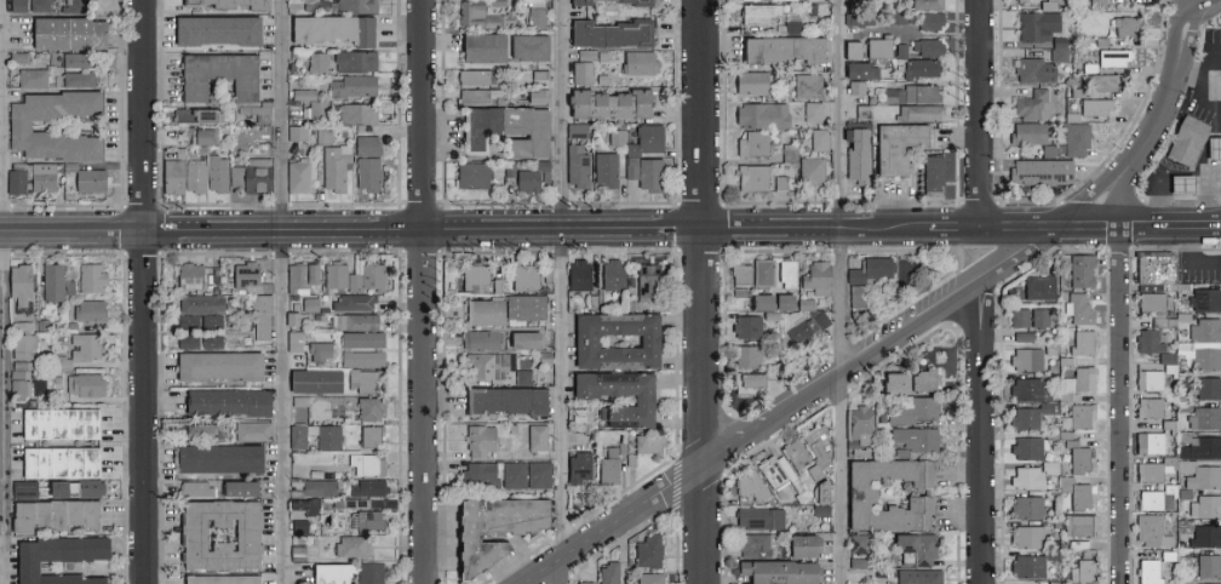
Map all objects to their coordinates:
building: (1019, 0)
building: (78, 1)
building: (785, 1)
building: (1028, 1)
building: (227, 4)
building: (501, 4)
building: (638, 4)
building: (16, 5)
building: (38, 5)
building: (1101, 5)
building: (354, 6)
building: (930, 6)
building: (1053, 6)
road: (1203, 7)
building: (815, 12)
building: (763, 16)
building: (486, 17)
building: (540, 19)
building: (900, 19)
building: (862, 22)
building: (934, 23)
building: (328, 28)
building: (1041, 28)
building: (1130, 28)
building: (796, 29)
building: (213, 30)
building: (64, 33)
building: (617, 35)
building: (1062, 44)
building: (1106, 44)
building: (488, 50)
building: (533, 50)
building: (849, 50)
building: (883, 50)
building: (900, 50)
building: (931, 50)
building: (786, 51)
building: (856, 52)
building: (905, 52)
building: (590, 57)
building: (1062, 57)
building: (75, 59)
building: (1117, 59)
building: (352, 61)
building: (315, 62)
building: (643, 64)
building: (1093, 69)
building: (924, 70)
building: (865, 73)
building: (1037, 73)
building: (214, 75)
building: (586, 75)
building: (544, 76)
building: (31, 78)
building: (78, 79)
building: (480, 79)
road: (1217, 82)
building: (756, 84)
building: (1106, 84)
building: (351, 85)
building: (812, 88)
building: (860, 90)
road: (1171, 93)
building: (1082, 95)
building: (915, 96)
building: (485, 98)
building: (543, 98)
building: (309, 103)
building: (615, 105)
building: (1037, 108)
building: (1100, 109)
building: (860, 110)
building: (354, 113)
building: (251, 114)
building: (816, 114)
building: (866, 114)
building: (923, 114)
building: (193, 115)
road: (980, 115)
building: (766, 118)
building: (1076, 119)
building: (18, 125)
building: (294, 132)
building: (510, 132)
building: (580, 132)
building: (197, 136)
building: (322, 136)
building: (1032, 136)
building: (620, 139)
building: (1078, 139)
building: (650, 142)
building: (822, 142)
building: (1191, 142)
building: (365, 145)
building: (757, 147)
building: (902, 148)
building: (1216, 150)
building: (1055, 153)
building: (861, 154)
building: (793, 155)
building: (333, 166)
building: (581, 168)
building: (512, 171)
building: (635, 171)
building: (610, 172)
building: (814, 172)
building: (170, 173)
building: (214, 173)
building: (366, 173)
building: (1044, 173)
building: (193, 176)
building: (250, 176)
building: (42, 177)
building: (296, 177)
building: (477, 177)
building: (654, 177)
building: (936, 177)
building: (85, 178)
building: (537, 178)
building: (756, 181)
building: (15, 182)
building: (785, 185)
building: (1186, 187)
road: (1085, 202)
road: (1117, 202)
road: (1202, 229)
road: (489, 230)
road: (1151, 230)
road: (1017, 231)
road: (1085, 231)
road: (1188, 258)
road: (1118, 264)
building: (867, 270)
building: (1079, 270)
building: (761, 271)
building: (1152, 271)
building: (784, 273)
building: (245, 274)
building: (739, 274)
building: (188, 275)
building: (472, 275)
building: (579, 275)
building: (610, 275)
building: (299, 276)
building: (352, 276)
building: (91, 277)
building: (522, 277)
building: (816, 277)
building: (51, 282)
building: (646, 282)
building: (16, 284)
building: (69, 287)
building: (1038, 287)
road: (7, 291)
road: (423, 291)
road: (844, 291)
road: (147, 292)
road: (285, 292)
road: (564, 292)
road: (704, 292)
building: (856, 296)
building: (1205, 299)
building: (350, 302)
building: (770, 302)
building: (200, 304)
building: (309, 304)
building: (504, 309)
building: (1078, 309)
building: (1153, 309)
building: (88, 310)
building: (259, 317)
building: (1019, 317)
building: (1038, 317)
building: (803, 320)
building: (354, 321)
building: (745, 327)
building: (1203, 330)
building: (199, 331)
building: (1021, 337)
building: (360, 339)
building: (478, 339)
building: (612, 339)
building: (293, 340)
building: (521, 340)
building: (1080, 342)
building: (1147, 342)
building: (22, 345)
building: (317, 350)
building: (1200, 354)
building: (746, 356)
building: (361, 359)
building: (1025, 359)
building: (483, 365)
building: (214, 366)
building: (63, 367)
building: (768, 371)
building: (1154, 373)
building: (522, 377)
building: (18, 378)
building: (921, 379)
building: (1080, 379)
building: (360, 380)
building: (313, 382)
building: (745, 383)
building: (892, 383)
building: (1026, 388)
building: (1208, 388)
building: (297, 401)
building: (503, 401)
building: (640, 401)
building: (223, 402)
building: (1151, 407)
building: (368, 408)
road: (795, 410)
building: (910, 411)
building: (577, 416)
building: (1028, 416)
building: (1078, 416)
building: (1204, 418)
building: (48, 428)
building: (251, 431)
building: (858, 431)
road: (981, 431)
building: (325, 435)
building: (296, 436)
building: (369, 436)
building: (534, 437)
building: (913, 439)
building: (477, 441)
road: (1119, 441)
building: (647, 442)
building: (815, 443)
building: (1025, 447)
building: (1141, 447)
building: (1198, 447)
building: (1078, 457)
building: (216, 458)
building: (798, 458)
building: (58, 462)
building: (366, 464)
building: (607, 466)
building: (577, 468)
building: (774, 471)
building: (1150, 471)
building: (1193, 473)
building: (477, 475)
building: (524, 475)
building: (1031, 475)
building: (750, 486)
building: (235, 487)
building: (317, 487)
building: (22, 488)
building: (53, 488)
building: (90, 488)
building: (194, 488)
building: (365, 488)
building: (819, 491)
building: (856, 493)
building: (1076, 493)
building: (1150, 500)
building: (309, 506)
building: (1026, 506)
building: (1204, 506)
building: (69, 514)
building: (25, 516)
building: (511, 516)
building: (758, 517)
building: (368, 520)
building: (1079, 525)
building: (297, 526)
building: (1148, 529)
building: (217, 536)
building: (1205, 536)
building: (1027, 537)
building: (469, 543)
building: (855, 544)
building: (752, 545)
building: (802, 545)
building: (351, 546)
building: (915, 548)
building: (647, 552)
building: (53, 559)
building: (1026, 566)
building: (1208, 566)
building: (1083, 567)
building: (1147, 571)
building: (776, 572)
building: (327, 573)
building: (368, 573)
building: (608, 573)
building: (917, 577)
building: (647, 578)
building: (217, 579)
building: (583, 583)

